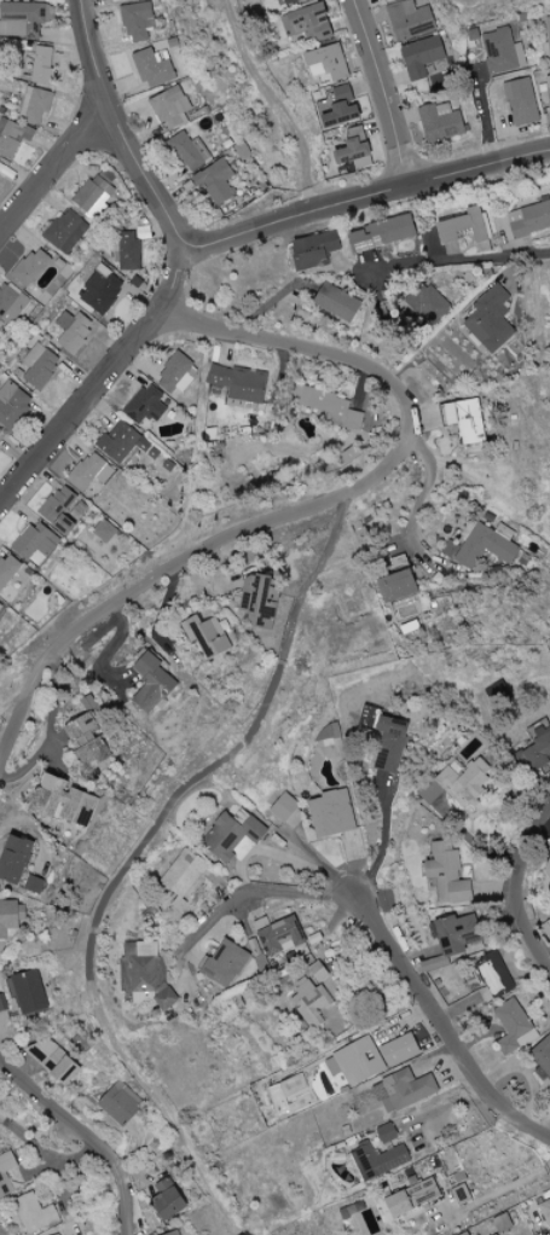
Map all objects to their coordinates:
building: (382, 0)
building: (283, 1)
building: (22, 18)
building: (299, 19)
building: (137, 21)
building: (407, 21)
building: (317, 33)
building: (549, 34)
building: (503, 52)
building: (421, 57)
building: (322, 64)
building: (40, 65)
building: (154, 68)
road: (381, 89)
building: (548, 92)
road: (274, 102)
building: (520, 102)
building: (34, 106)
building: (168, 108)
building: (334, 108)
road: (486, 114)
building: (438, 122)
road: (120, 126)
building: (12, 137)
building: (349, 150)
building: (190, 152)
building: (0, 161)
road: (54, 170)
building: (214, 181)
road: (365, 192)
building: (93, 197)
building: (529, 219)
building: (461, 226)
building: (65, 231)
building: (345, 242)
building: (126, 250)
road: (453, 257)
building: (29, 267)
road: (174, 277)
building: (100, 290)
building: (335, 302)
building: (10, 303)
building: (425, 305)
building: (487, 320)
building: (71, 331)
building: (40, 366)
building: (175, 373)
building: (236, 383)
building: (12, 405)
building: (145, 405)
building: (331, 406)
road: (81, 407)
building: (465, 421)
building: (0, 435)
building: (121, 441)
building: (89, 470)
road: (382, 475)
road: (422, 503)
building: (57, 508)
building: (103, 530)
building: (35, 543)
building: (475, 549)
building: (7, 568)
building: (393, 585)
building: (253, 599)
building: (0, 607)
building: (207, 636)
building: (150, 683)
road: (31, 686)
building: (493, 694)
building: (86, 740)
building: (390, 747)
building: (535, 748)
building: (455, 783)
building: (57, 800)
building: (282, 807)
building: (329, 814)
building: (228, 835)
road: (384, 840)
road: (133, 857)
building: (13, 858)
building: (544, 866)
building: (446, 871)
building: (181, 877)
road: (514, 883)
building: (33, 885)
building: (11, 917)
building: (453, 933)
building: (278, 937)
road: (390, 944)
building: (222, 962)
building: (439, 962)
building: (143, 969)
building: (492, 974)
building: (25, 992)
building: (309, 996)
building: (0, 1009)
building: (515, 1022)
building: (506, 1044)
building: (542, 1055)
building: (366, 1057)
building: (52, 1060)
building: (401, 1090)
building: (284, 1095)
building: (117, 1102)
building: (384, 1133)
road: (85, 1136)
road: (44, 1148)
building: (378, 1160)
building: (5, 1181)
building: (459, 1194)
building: (406, 1198)
building: (164, 1201)
building: (544, 1211)
building: (34, 1213)
building: (500, 1223)
building: (172, 1233)
building: (57, 1234)

